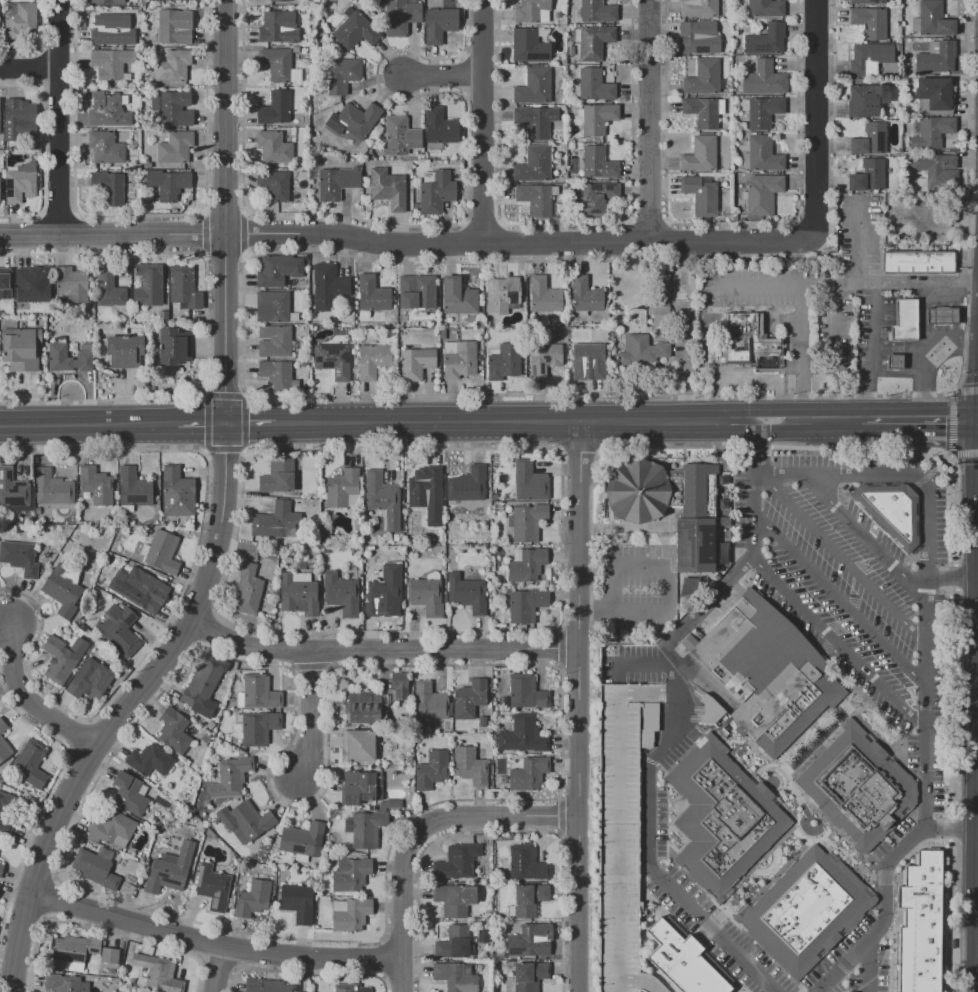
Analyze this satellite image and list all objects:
building: (185, 0)
building: (279, 0)
building: (105, 2)
building: (867, 2)
building: (699, 8)
building: (766, 9)
building: (530, 11)
building: (597, 11)
building: (400, 16)
building: (20, 20)
building: (931, 20)
building: (869, 22)
building: (439, 25)
building: (175, 26)
building: (276, 26)
building: (354, 30)
building: (109, 31)
building: (698, 37)
building: (766, 40)
building: (594, 41)
building: (529, 46)
building: (869, 57)
building: (936, 57)
building: (111, 63)
building: (277, 64)
building: (173, 66)
road: (31, 71)
building: (342, 74)
building: (704, 78)
building: (763, 78)
road: (445, 79)
building: (595, 85)
building: (534, 87)
building: (933, 92)
building: (865, 100)
building: (274, 108)
building: (108, 110)
building: (171, 111)
building: (763, 111)
building: (701, 112)
building: (21, 116)
road: (63, 116)
building: (598, 117)
building: (358, 119)
building: (535, 120)
road: (815, 120)
road: (483, 121)
road: (654, 121)
building: (439, 126)
building: (932, 132)
building: (398, 137)
building: (870, 139)
building: (105, 147)
building: (175, 147)
building: (273, 147)
building: (763, 154)
building: (700, 155)
building: (598, 163)
building: (534, 164)
building: (935, 171)
building: (867, 176)
building: (20, 182)
building: (337, 182)
building: (168, 183)
building: (274, 184)
building: (110, 186)
building: (388, 187)
building: (435, 191)
building: (701, 193)
building: (762, 194)
building: (535, 199)
building: (597, 199)
road: (228, 213)
road: (407, 243)
building: (919, 262)
building: (274, 270)
building: (70, 284)
building: (148, 285)
road: (842, 285)
building: (183, 286)
building: (329, 286)
building: (5, 287)
building: (29, 288)
building: (108, 289)
building: (417, 292)
building: (372, 293)
building: (457, 295)
building: (501, 295)
building: (543, 295)
building: (585, 295)
building: (272, 306)
building: (940, 316)
building: (663, 317)
building: (903, 321)
road: (920, 325)
building: (275, 341)
road: (971, 342)
building: (744, 343)
building: (172, 347)
building: (24, 350)
building: (122, 351)
building: (644, 352)
road: (870, 352)
building: (457, 354)
road: (802, 355)
building: (70, 360)
building: (334, 360)
building: (373, 360)
building: (593, 360)
building: (546, 361)
building: (415, 363)
building: (506, 363)
building: (893, 363)
road: (928, 370)
building: (278, 375)
road: (965, 390)
road: (951, 391)
road: (806, 420)
road: (919, 420)
road: (514, 422)
road: (951, 423)
road: (251, 425)
road: (88, 426)
road: (201, 426)
traffic signals: (226, 426)
road: (754, 448)
road: (964, 453)
road: (949, 456)
road: (937, 466)
road: (887, 475)
building: (277, 476)
road: (924, 476)
building: (532, 483)
building: (99, 486)
building: (132, 486)
building: (424, 486)
building: (342, 487)
building: (56, 489)
building: (467, 489)
building: (14, 490)
building: (637, 491)
building: (177, 492)
building: (381, 497)
road: (953, 498)
building: (890, 510)
building: (275, 519)
building: (697, 522)
building: (529, 523)
road: (858, 534)
building: (162, 552)
road: (839, 557)
building: (22, 558)
building: (529, 566)
road: (952, 576)
road: (956, 576)
road: (667, 585)
parking lot: (632, 588)
building: (248, 589)
building: (143, 591)
building: (65, 592)
building: (380, 592)
building: (467, 593)
building: (342, 594)
building: (298, 595)
building: (426, 596)
road: (841, 603)
building: (528, 606)
building: (122, 629)
road: (975, 634)
building: (687, 641)
road: (841, 644)
road: (379, 648)
building: (57, 659)
road: (631, 662)
building: (768, 673)
building: (398, 678)
building: (89, 681)
building: (202, 689)
building: (258, 692)
road: (657, 692)
building: (529, 693)
building: (469, 698)
road: (32, 702)
building: (430, 702)
road: (950, 702)
road: (576, 707)
building: (361, 708)
road: (125, 709)
road: (298, 715)
building: (484, 722)
building: (257, 726)
building: (173, 731)
building: (525, 737)
road: (667, 740)
building: (5, 744)
building: (357, 746)
building: (149, 759)
building: (32, 765)
building: (470, 766)
building: (431, 769)
building: (531, 775)
building: (230, 777)
building: (360, 787)
building: (861, 788)
building: (129, 794)
building: (393, 804)
road: (926, 806)
building: (3, 814)
building: (723, 818)
building: (251, 820)
building: (113, 828)
building: (365, 828)
road: (949, 828)
road: (949, 828)
road: (416, 832)
road: (619, 833)
building: (617, 836)
parking garage: (617, 836)
building: (302, 839)
building: (1, 844)
building: (458, 861)
building: (529, 865)
building: (95, 867)
building: (169, 870)
building: (2, 871)
building: (350, 873)
building: (212, 887)
building: (1, 889)
building: (253, 898)
building: (454, 899)
building: (531, 900)
road: (971, 900)
building: (297, 902)
building: (807, 910)
building: (350, 914)
road: (947, 915)
building: (922, 927)
building: (485, 937)
building: (531, 940)
road: (211, 942)
building: (454, 942)
building: (73, 951)
building: (109, 955)
building: (680, 962)
road: (868, 965)
road: (220, 969)
road: (953, 971)
building: (158, 974)
building: (455, 976)
building: (532, 976)
road: (630, 981)
road: (654, 981)
road: (970, 982)
building: (62, 983)
building: (267, 985)
building: (347, 988)

